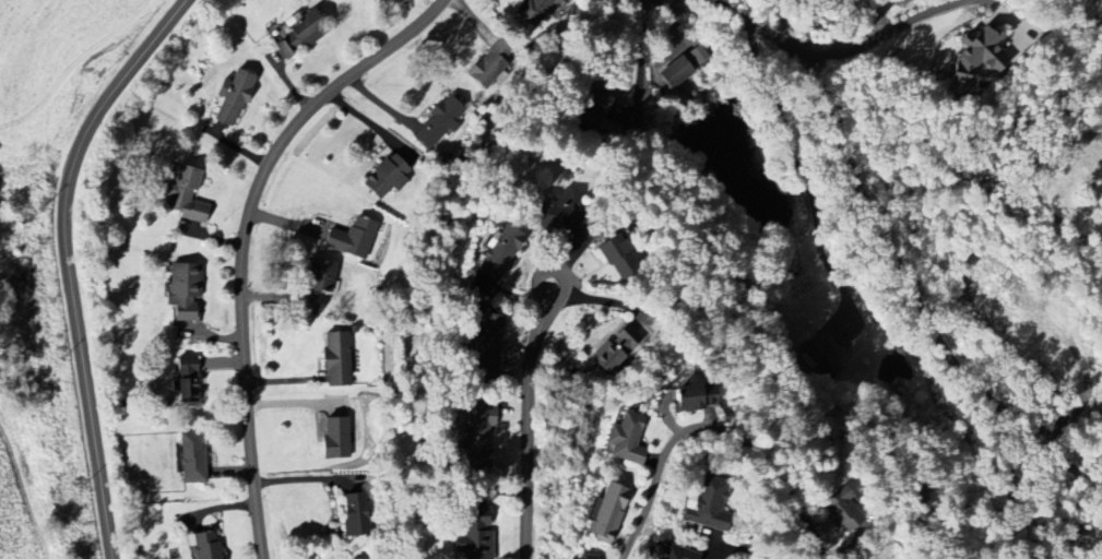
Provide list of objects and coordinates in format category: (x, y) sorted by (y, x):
road: (999, 8)
building: (534, 11)
road: (759, 28)
road: (793, 28)
building: (301, 33)
road: (884, 34)
building: (976, 59)
building: (489, 64)
building: (675, 73)
road: (763, 84)
building: (232, 98)
building: (592, 109)
building: (438, 123)
building: (384, 178)
building: (182, 195)
building: (555, 214)
road: (245, 238)
building: (351, 239)
building: (618, 251)
building: (498, 253)
road: (68, 262)
building: (315, 286)
building: (182, 292)
road: (915, 302)
building: (486, 346)
building: (618, 350)
building: (822, 354)
building: (335, 359)
building: (185, 380)
building: (688, 397)
road: (529, 418)
road: (709, 424)
building: (476, 438)
building: (624, 439)
building: (333, 440)
building: (190, 461)
building: (702, 506)
building: (841, 511)
building: (354, 515)
building: (607, 515)
building: (474, 536)
building: (202, 546)
road: (743, 549)
building: (668, 552)
building: (577, 558)

